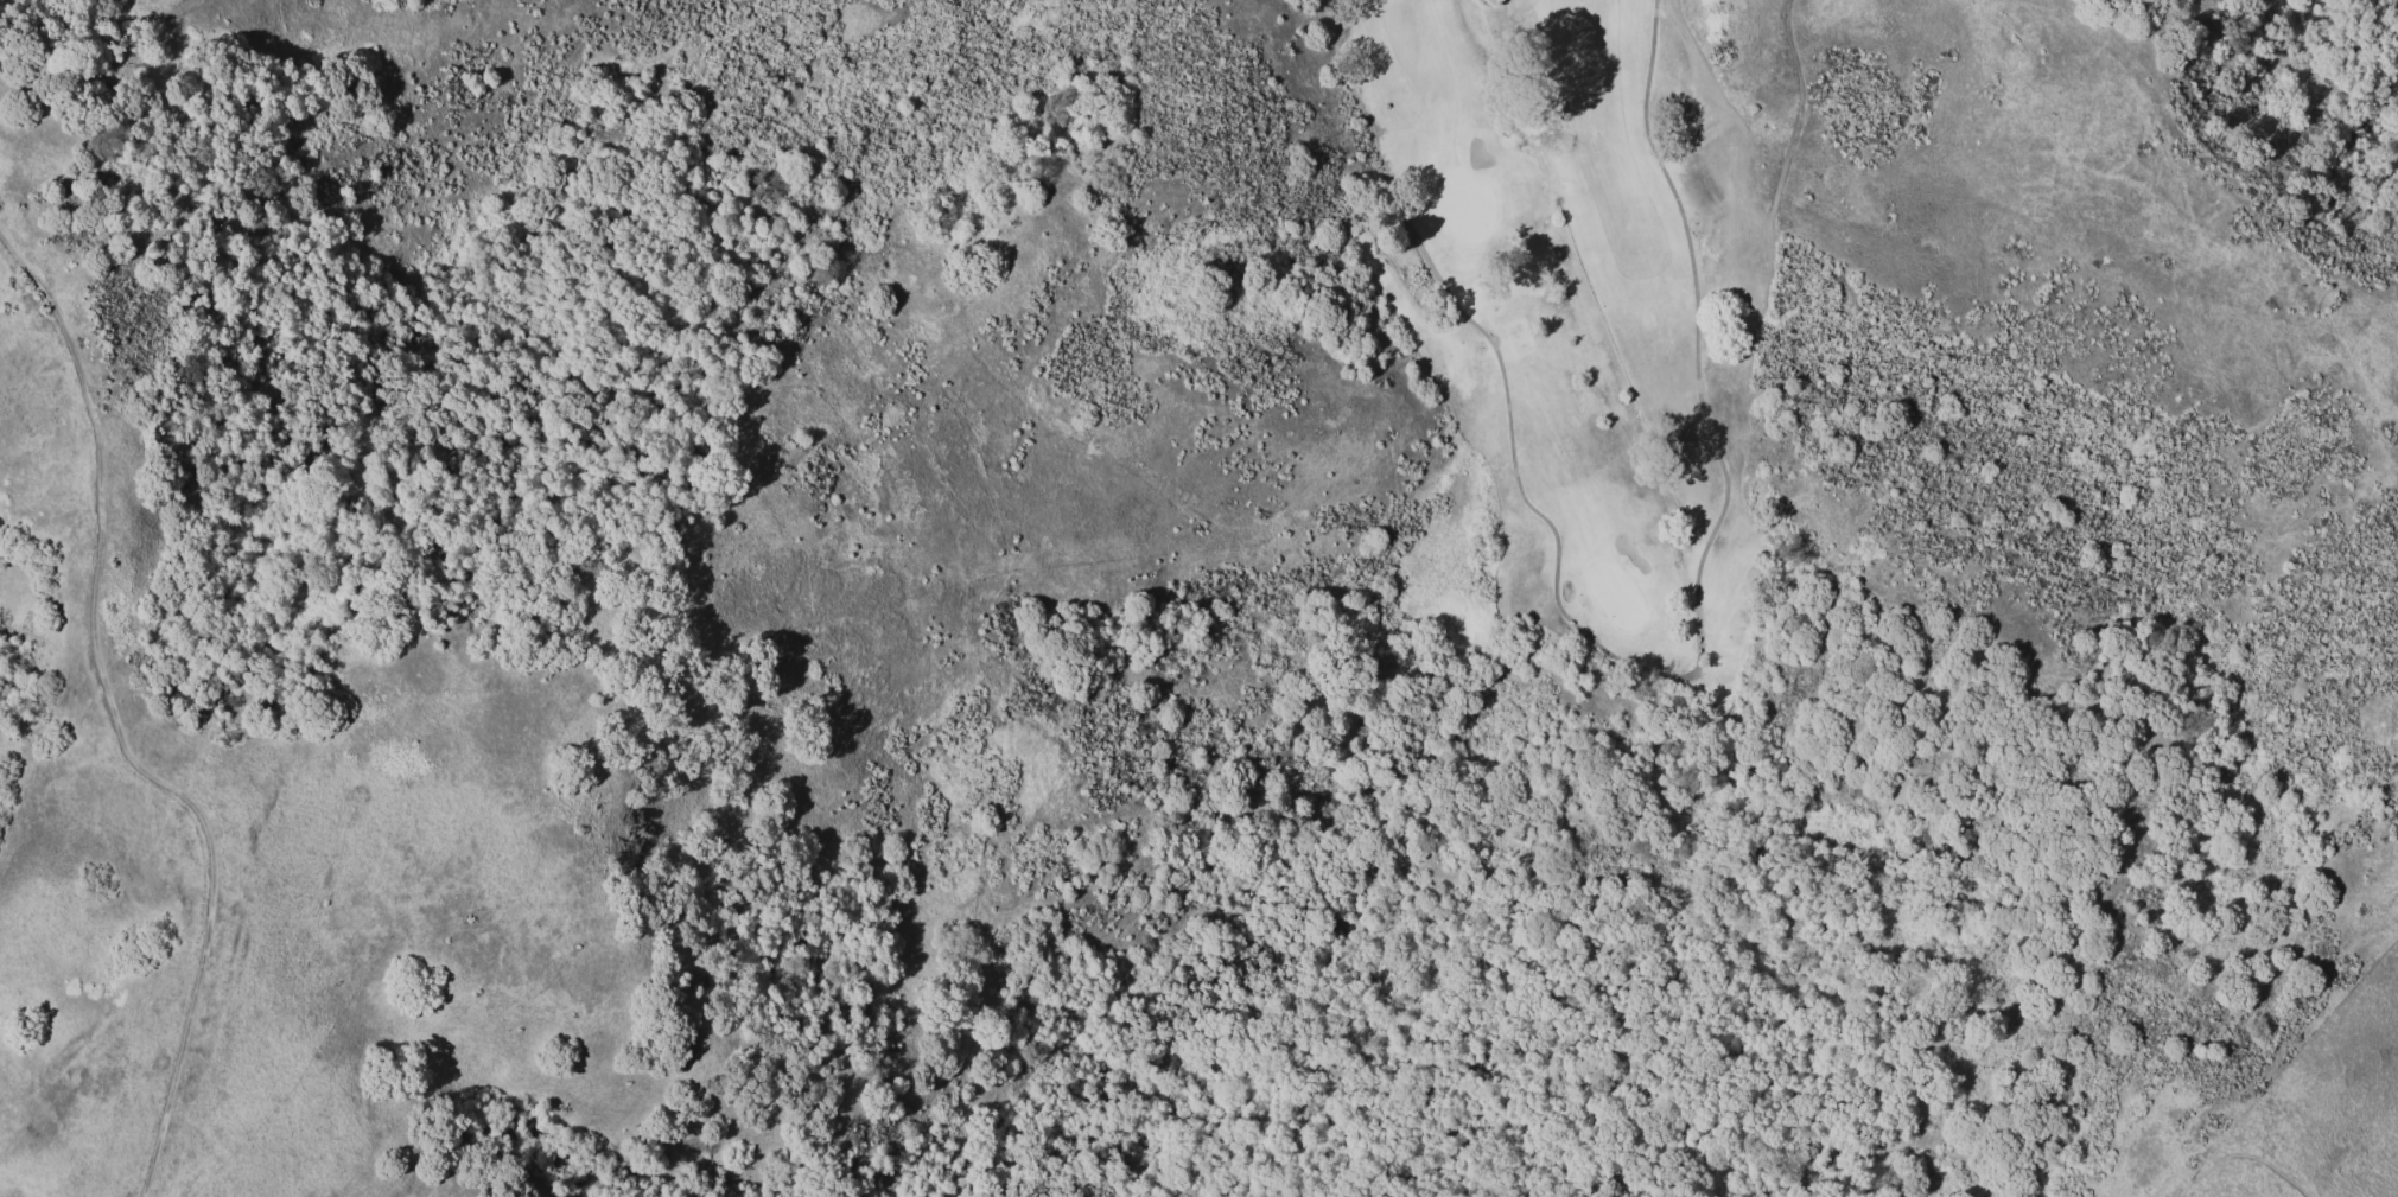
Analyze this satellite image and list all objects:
road: (95, 14)
park: (1569, 307)
road: (1499, 367)
road: (114, 724)
road: (2227, 1153)

